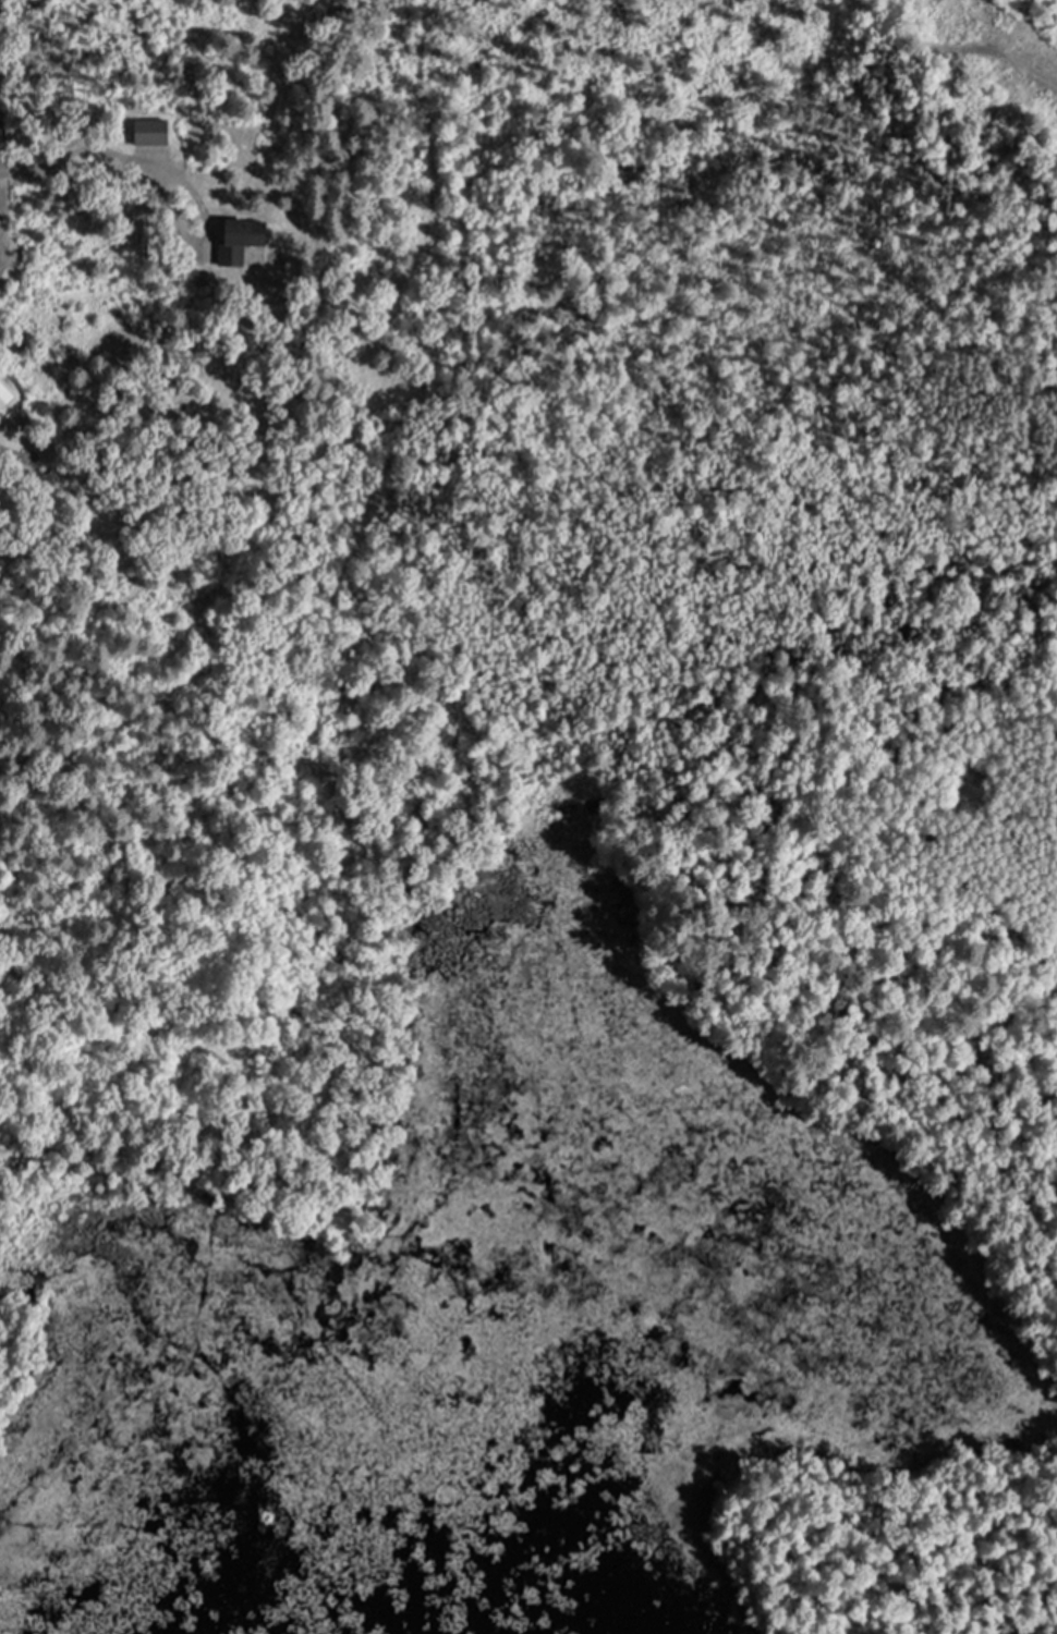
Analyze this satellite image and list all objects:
road: (995, 46)
building: (246, 236)

